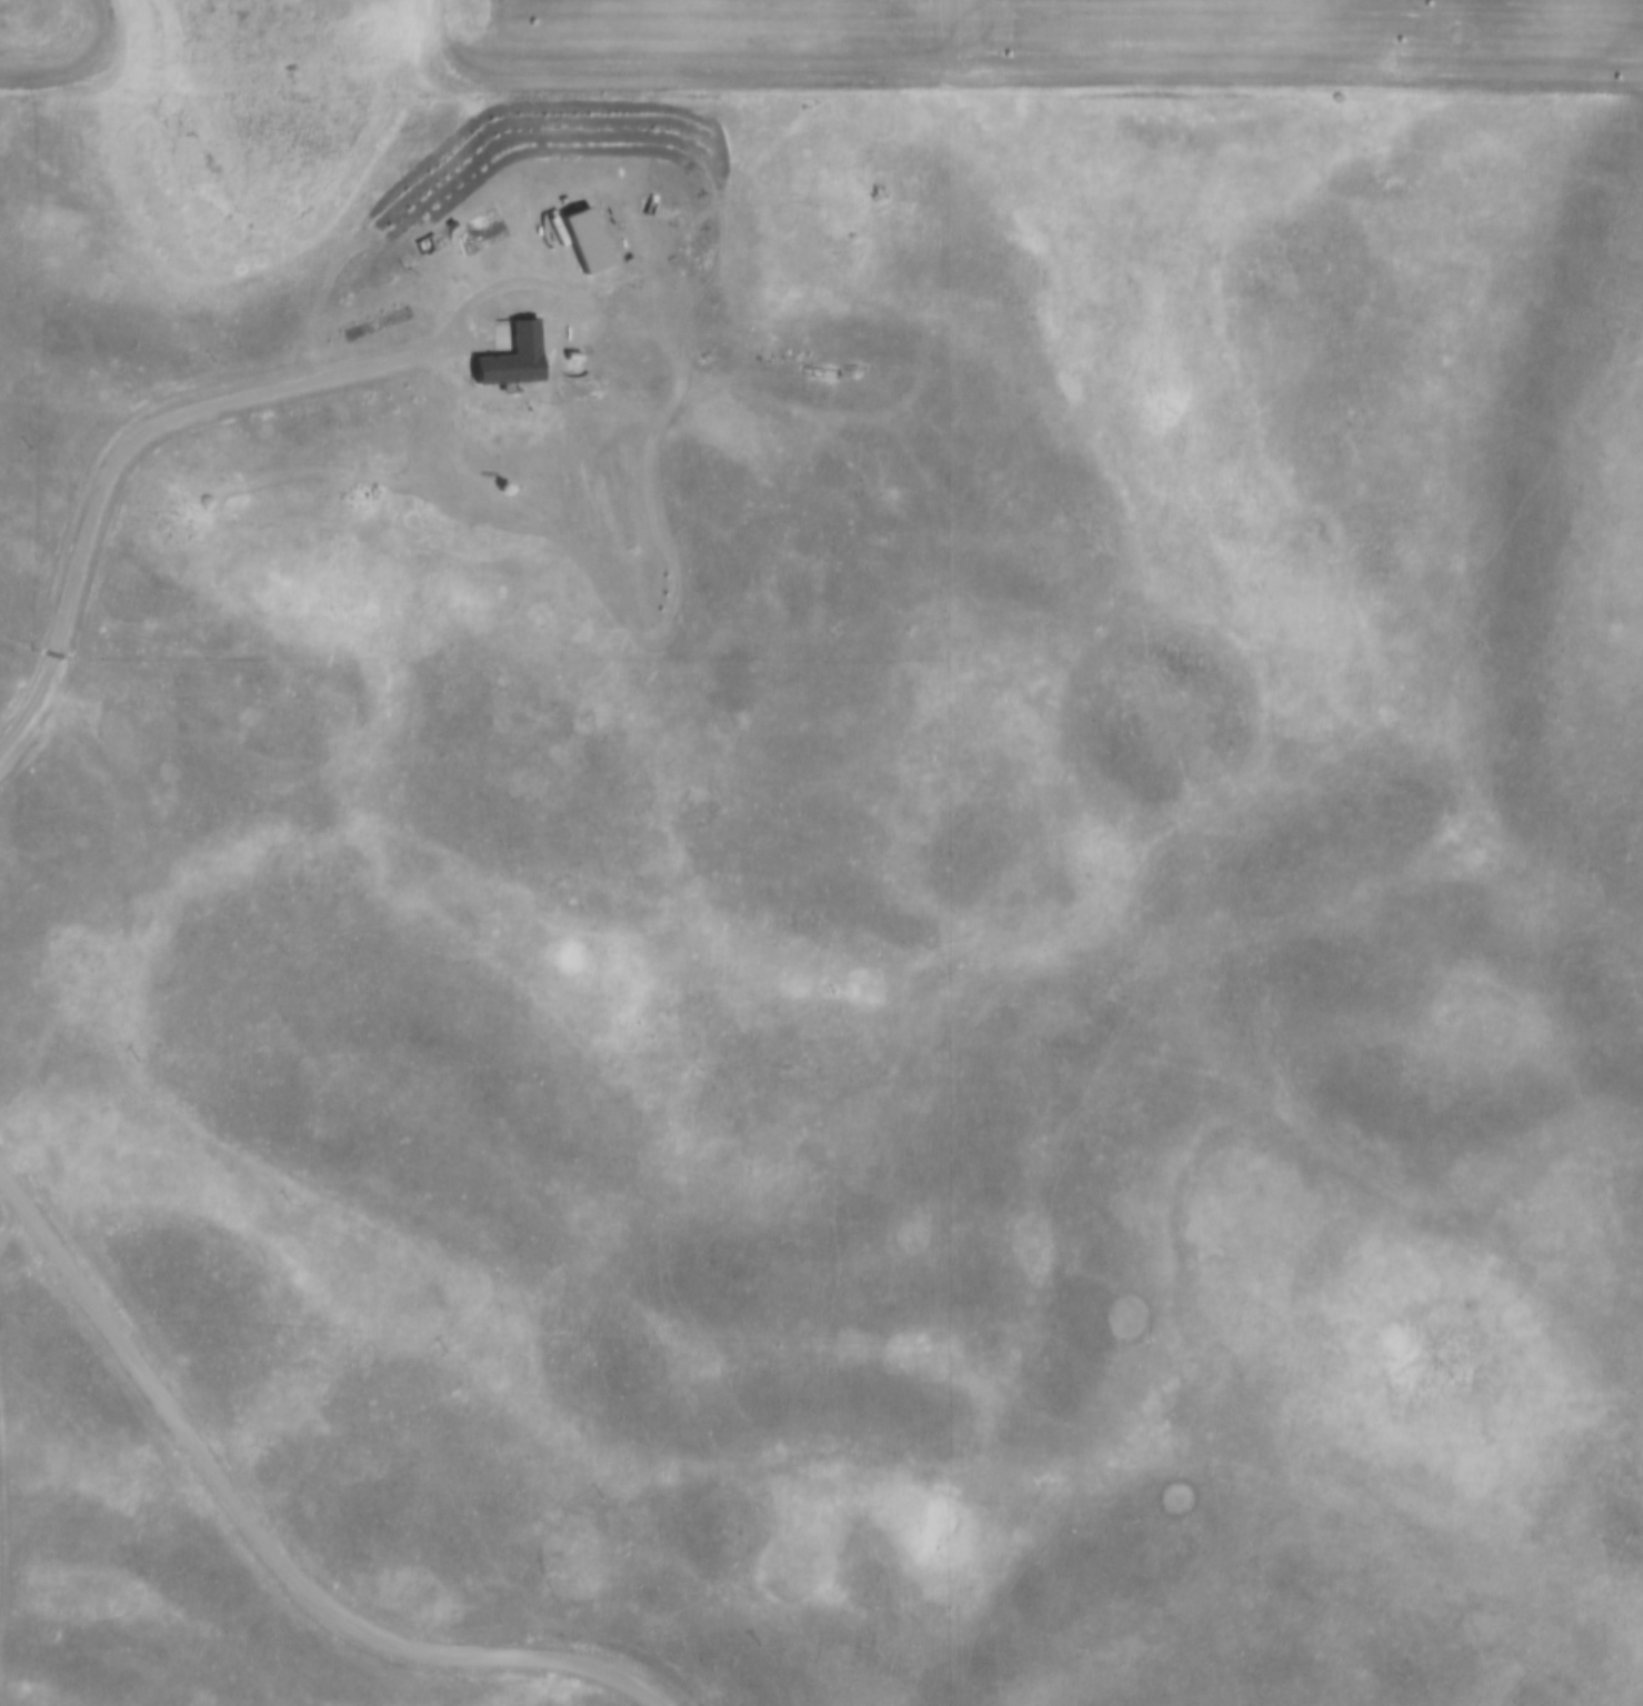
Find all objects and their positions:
road: (3, 1493)
road: (0, 1693)

